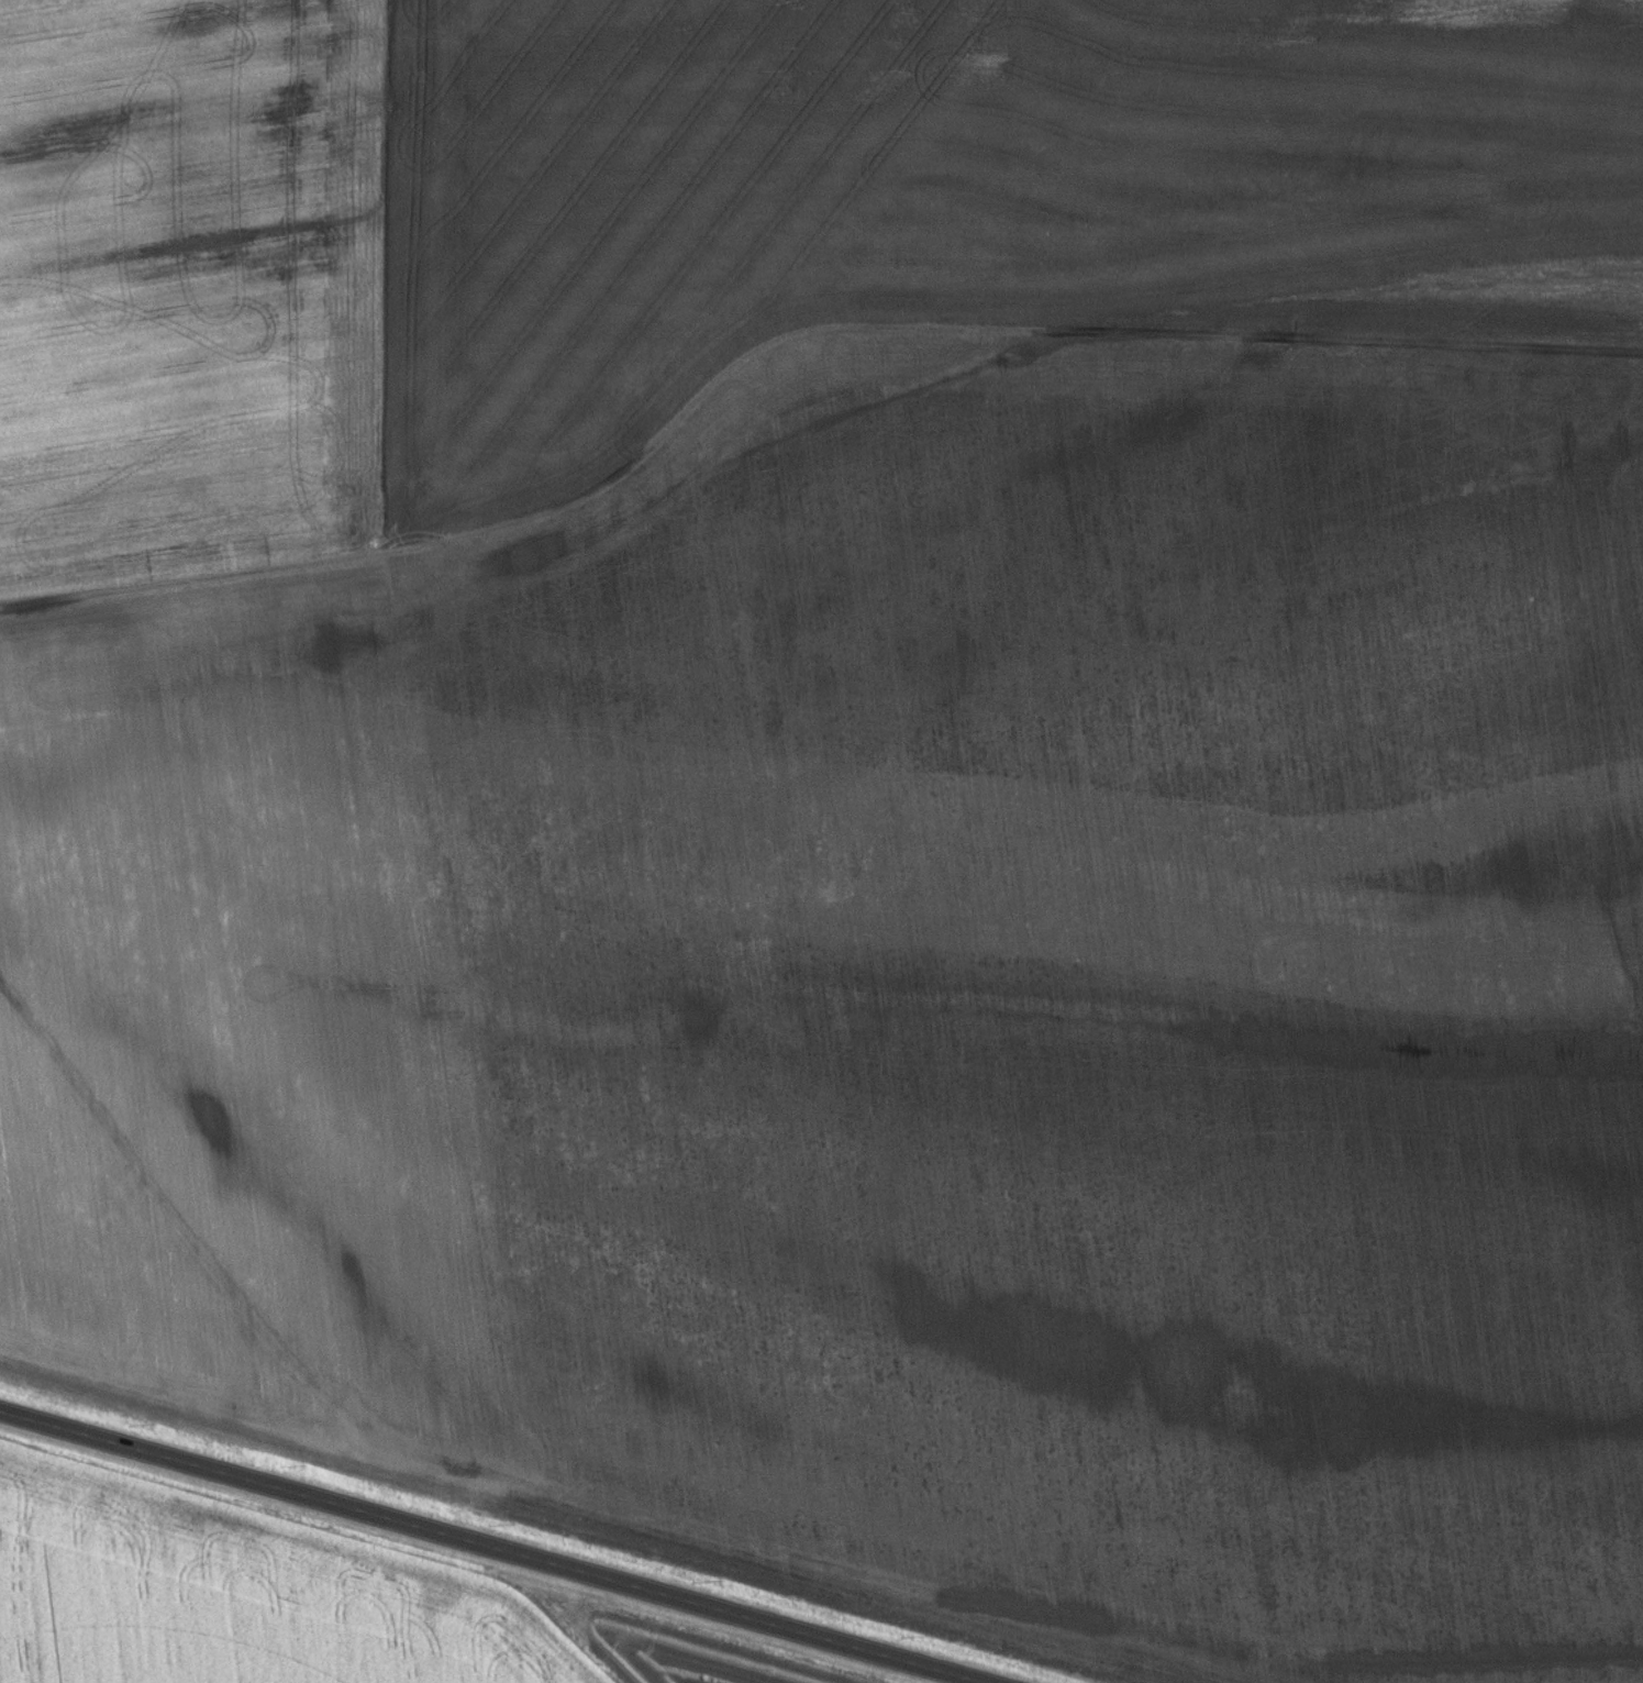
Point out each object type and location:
road: (495, 1546)

